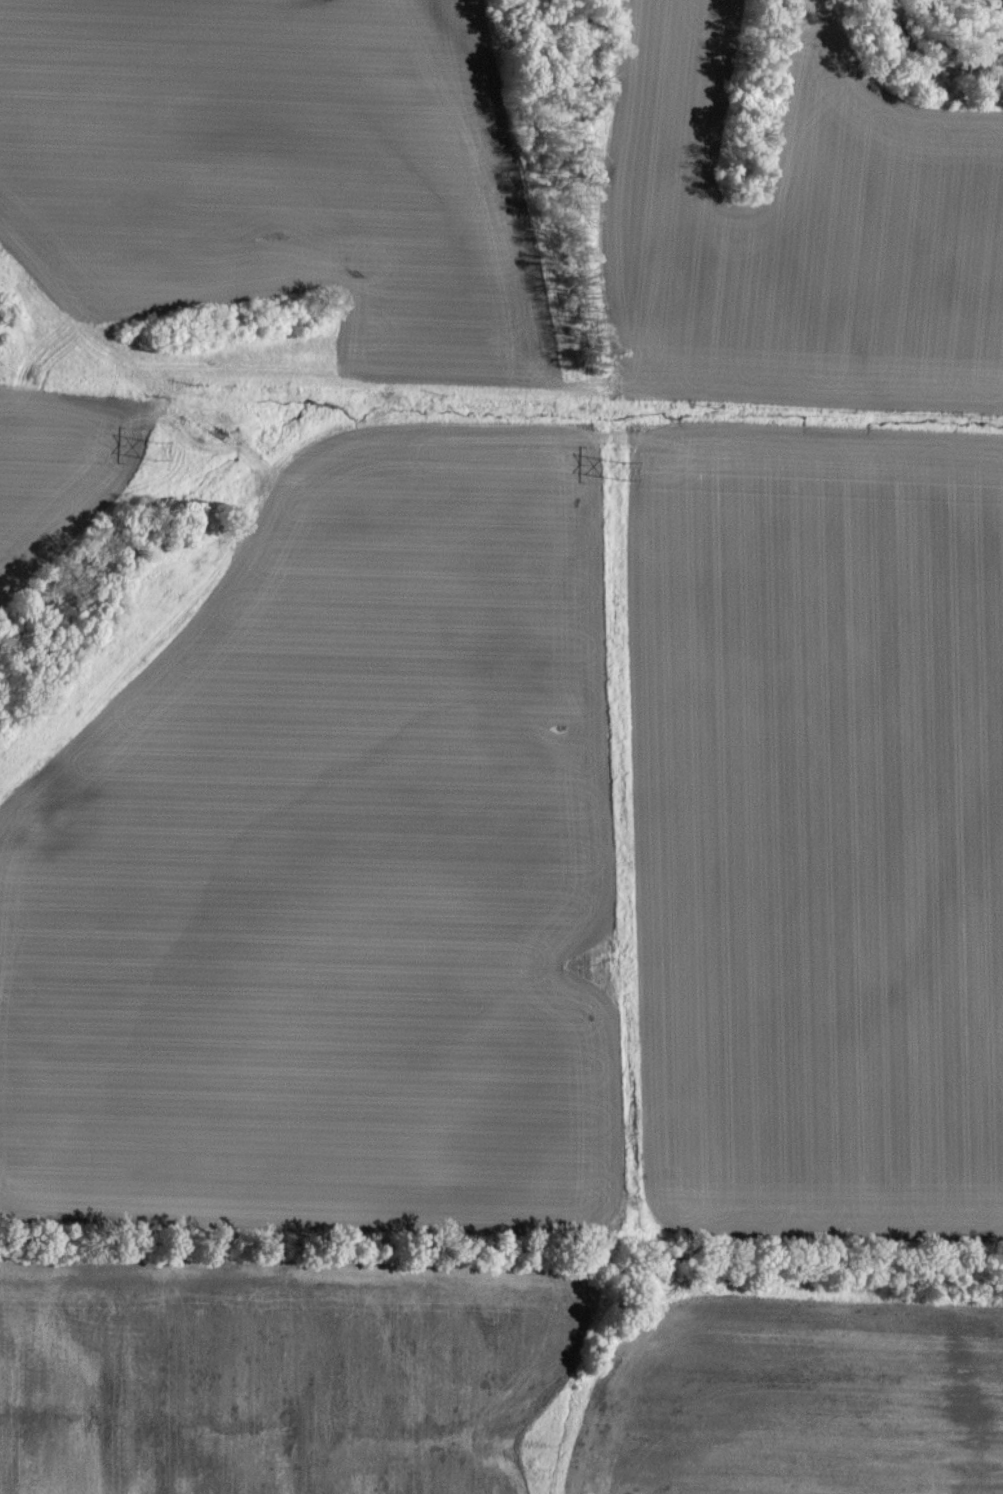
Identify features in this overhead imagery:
power tower: (158, 449)
power tower: (619, 468)

